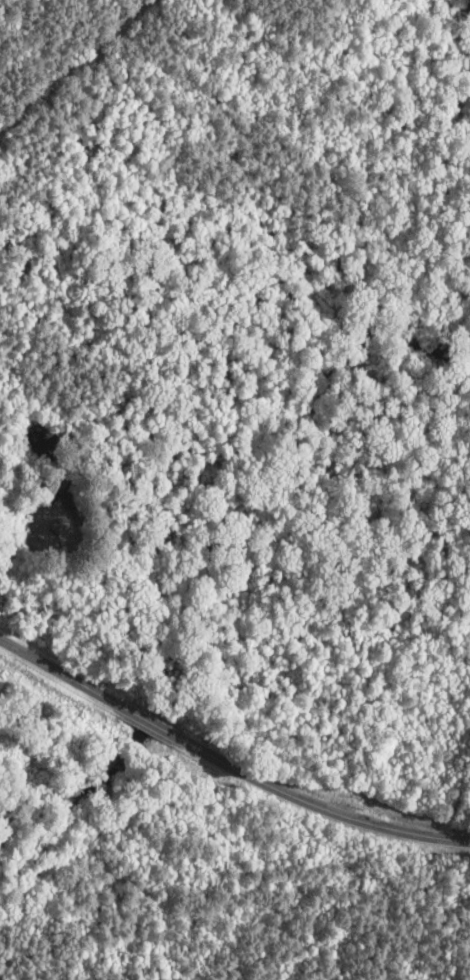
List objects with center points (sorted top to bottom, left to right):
road: (63, 673)
road: (154, 722)
road: (319, 802)

